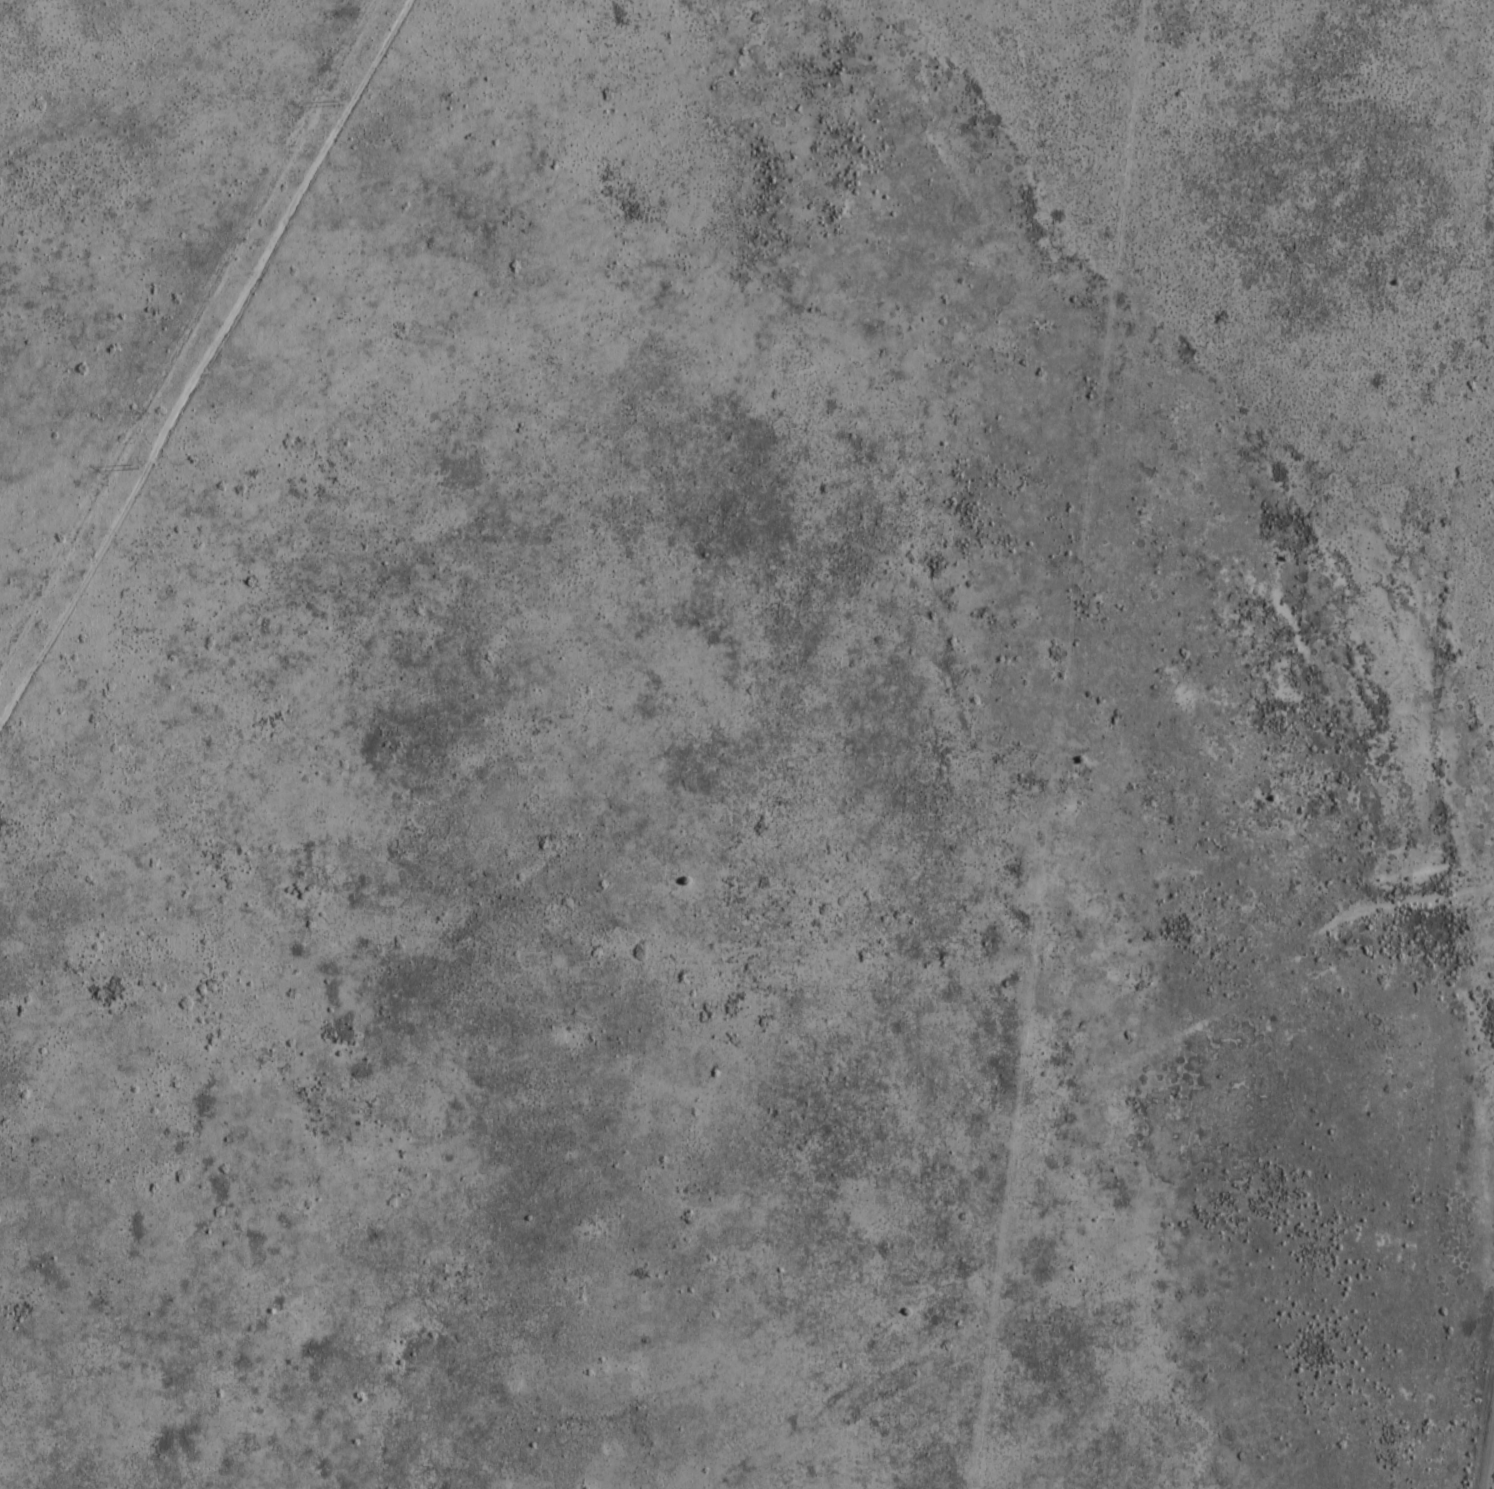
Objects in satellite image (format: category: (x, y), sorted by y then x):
aerialway pylon: (340, 103)
road: (199, 362)
aerialway pylon: (135, 464)
road: (1059, 744)
road: (1490, 1459)

